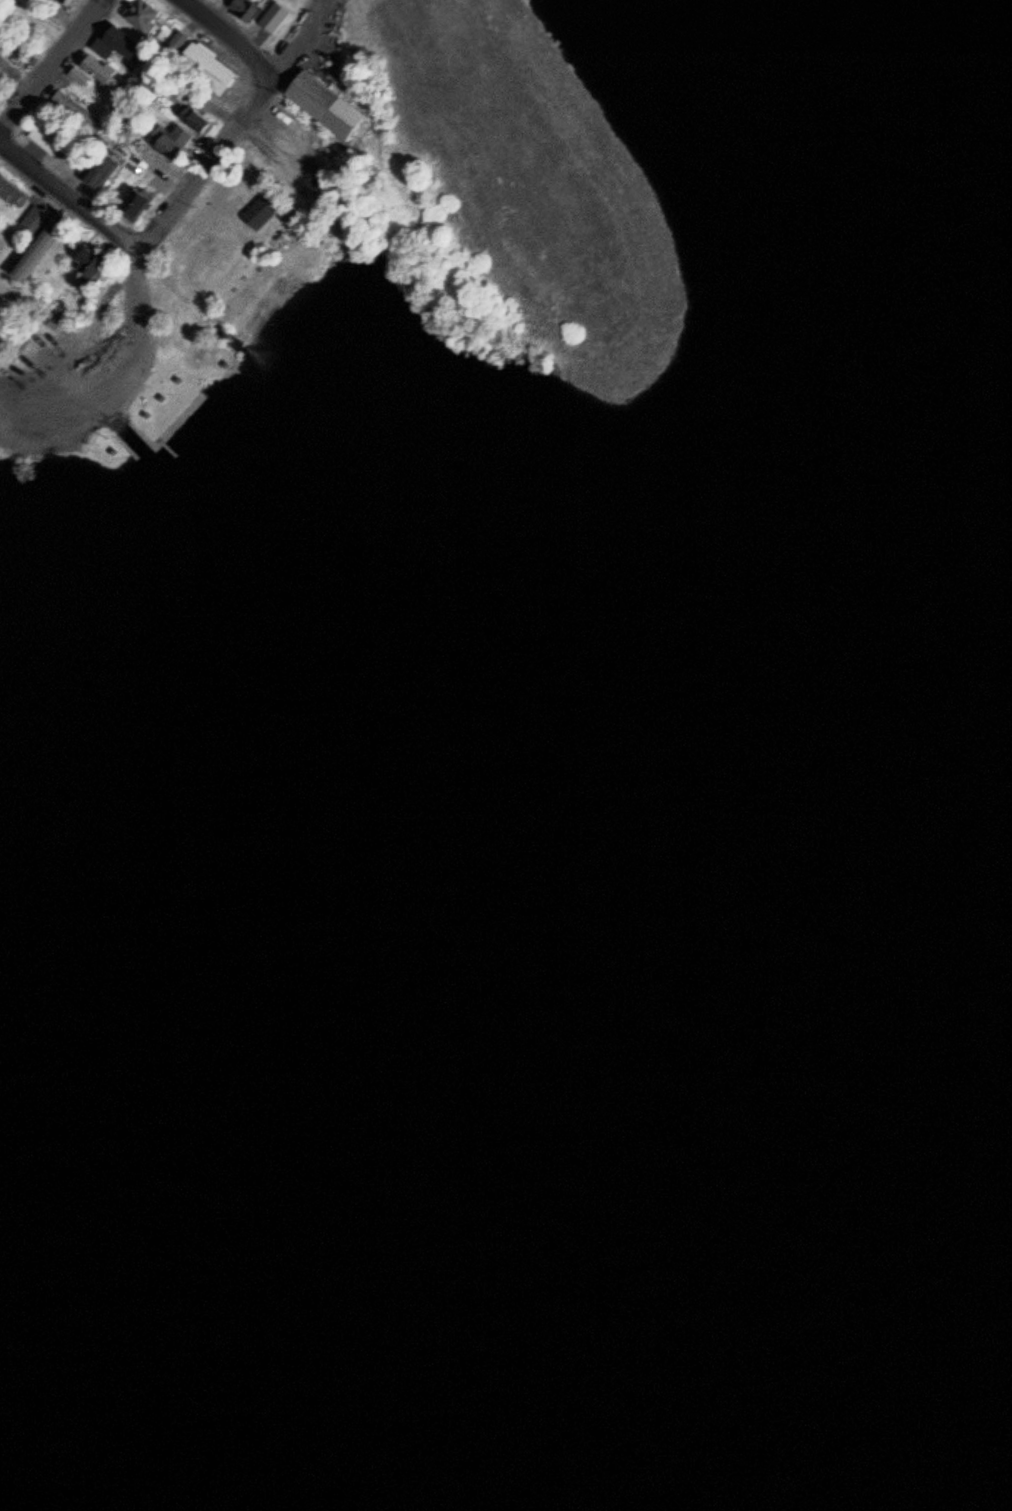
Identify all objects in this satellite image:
building: (66, 2)
building: (242, 9)
building: (144, 13)
road: (232, 35)
road: (308, 35)
building: (117, 39)
building: (181, 39)
building: (18, 58)
road: (50, 63)
building: (210, 65)
building: (95, 70)
building: (328, 104)
building: (82, 109)
building: (199, 121)
building: (185, 134)
road: (280, 136)
building: (49, 138)
building: (167, 146)
building: (107, 168)
road: (72, 186)
building: (12, 190)
building: (141, 201)
building: (264, 210)
building: (37, 219)
road: (137, 252)
building: (38, 253)
building: (94, 263)

